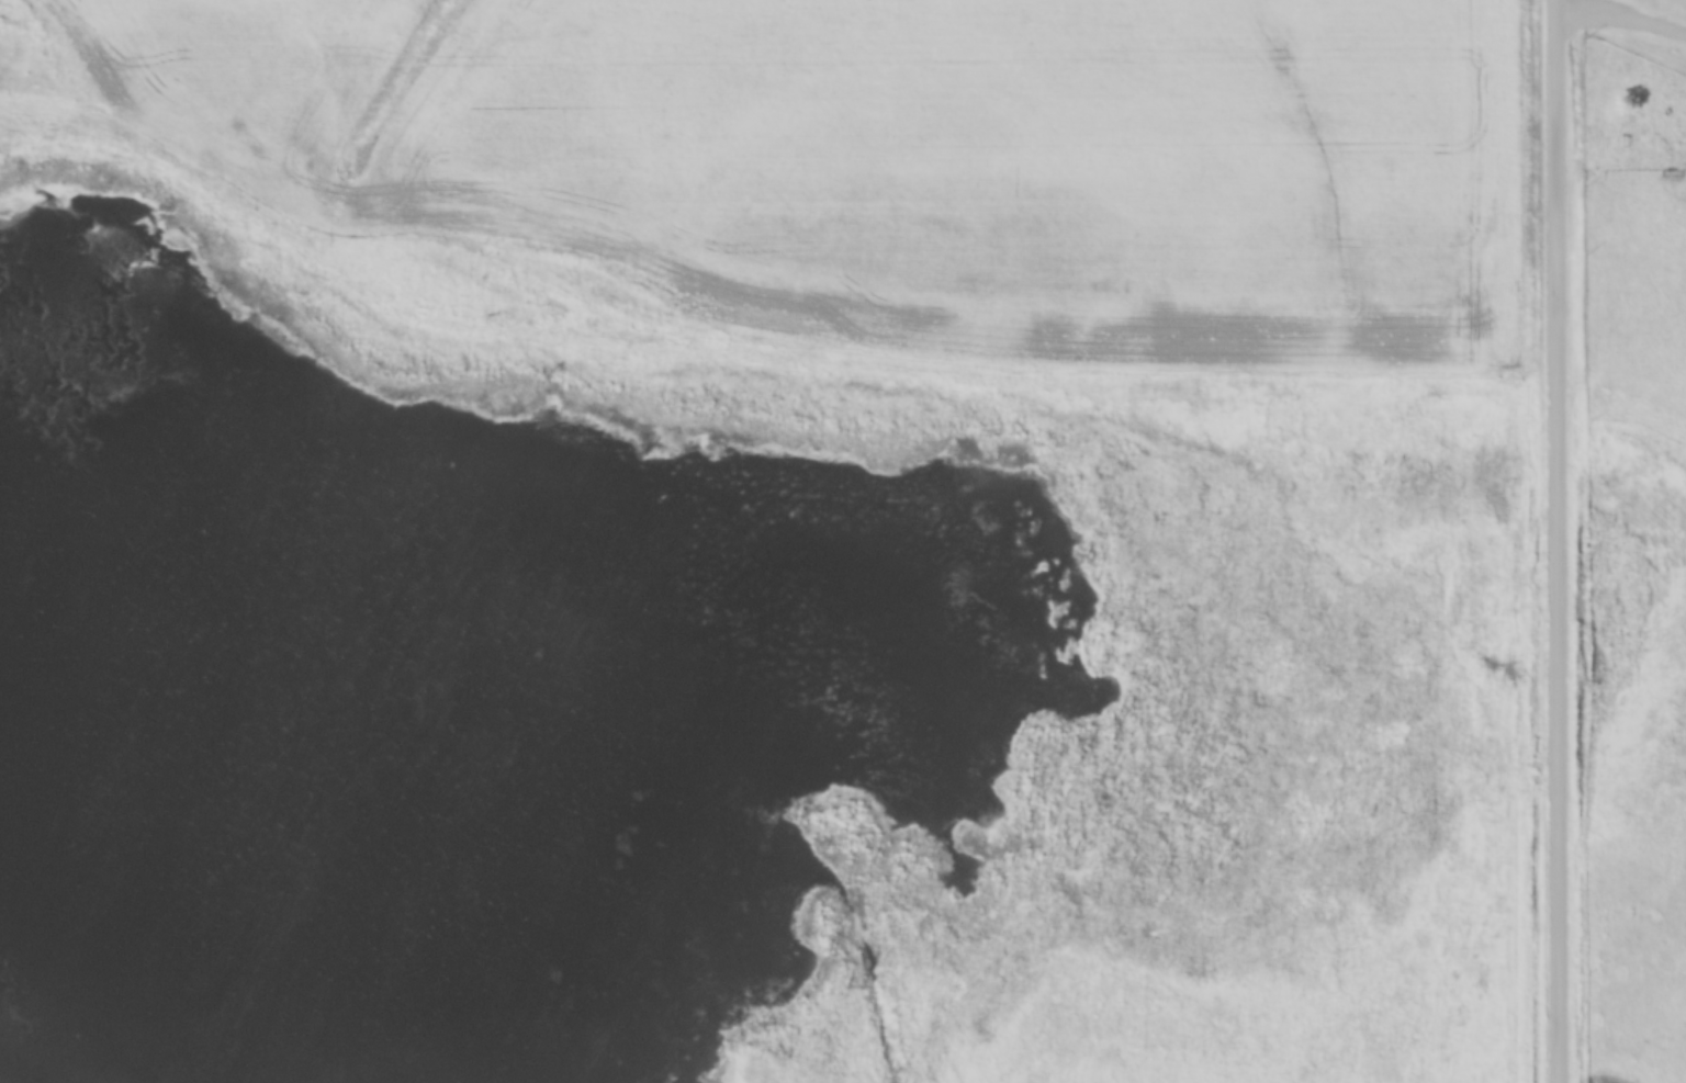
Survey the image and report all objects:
road: (1627, 18)
road: (1564, 541)

